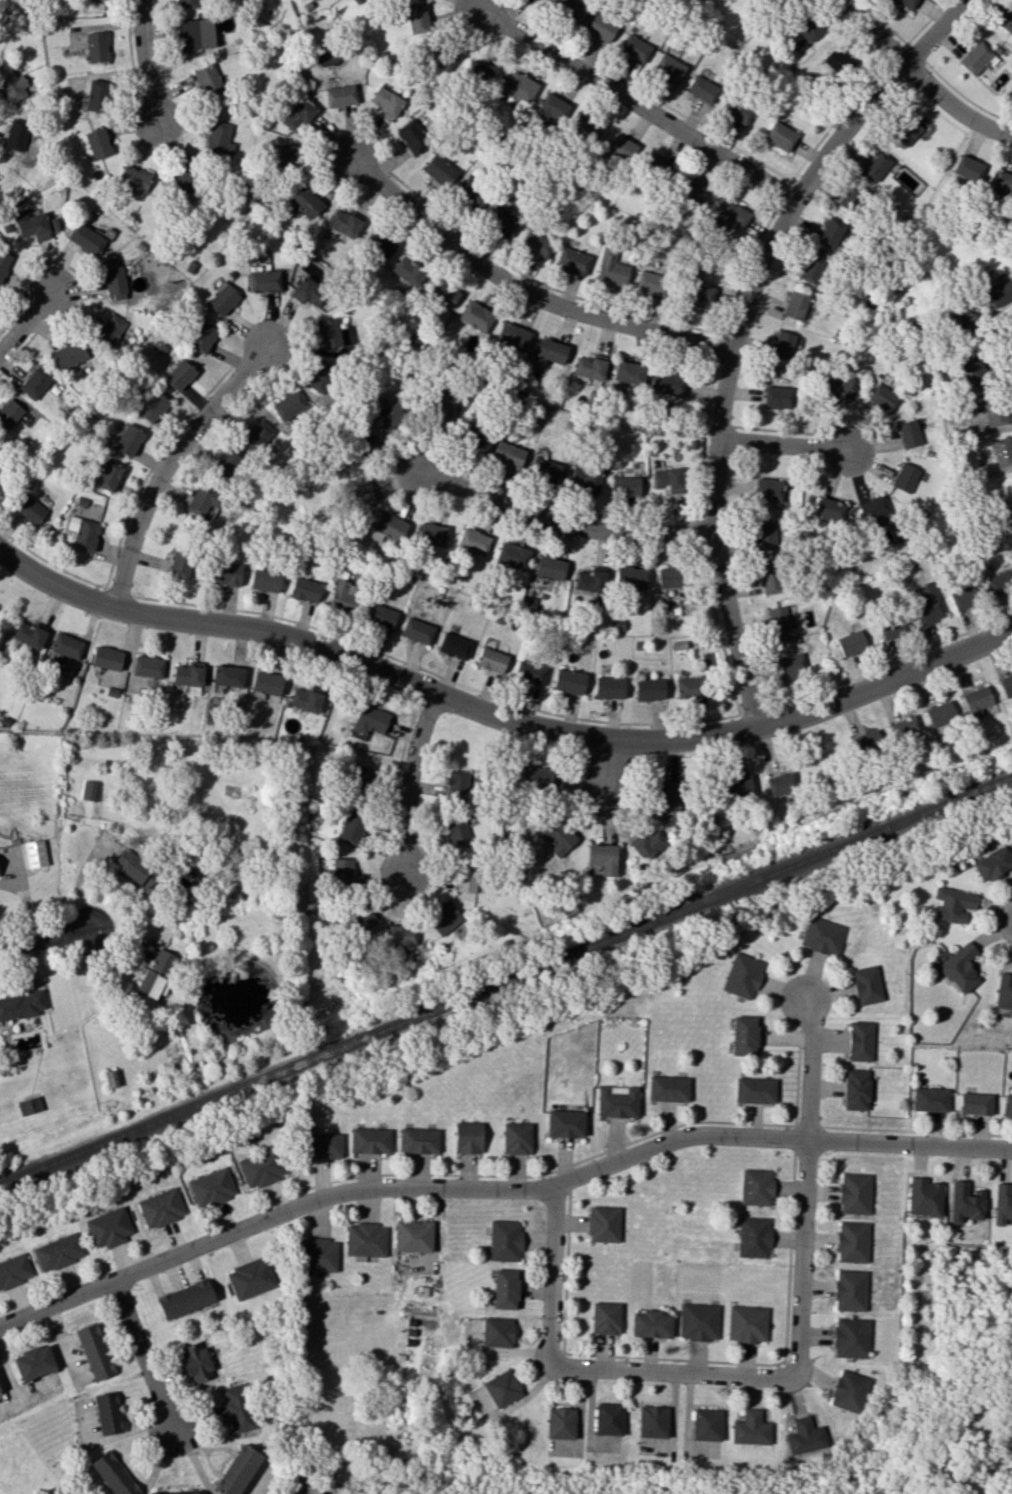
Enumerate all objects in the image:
building: (96, 0)
building: (777, 1)
building: (187, 3)
building: (906, 3)
building: (568, 8)
building: (417, 18)
building: (1006, 18)
building: (807, 27)
building: (600, 28)
building: (195, 33)
road: (905, 45)
building: (96, 46)
building: (634, 48)
road: (897, 53)
road: (915, 54)
building: (975, 57)
building: (439, 59)
road: (142, 60)
building: (836, 60)
road: (134, 62)
building: (668, 68)
building: (478, 72)
road: (919, 77)
building: (207, 80)
building: (12, 85)
building: (519, 86)
building: (701, 89)
road: (646, 94)
building: (97, 95)
building: (340, 95)
road: (965, 97)
building: (386, 103)
road: (636, 104)
building: (551, 110)
building: (736, 110)
building: (299, 115)
road: (836, 119)
building: (586, 127)
building: (16, 134)
building: (412, 136)
building: (779, 136)
building: (218, 138)
building: (98, 143)
building: (620, 148)
building: (287, 157)
building: (652, 165)
building: (875, 165)
building: (968, 168)
building: (439, 170)
building: (180, 177)
building: (135, 178)
building: (1002, 183)
building: (689, 189)
building: (472, 193)
road: (785, 194)
building: (849, 198)
building: (305, 201)
building: (731, 215)
building: (502, 221)
building: (343, 222)
building: (36, 226)
building: (831, 233)
building: (85, 239)
building: (380, 243)
building: (535, 244)
building: (572, 260)
building: (3, 262)
building: (611, 268)
road: (746, 269)
building: (811, 269)
building: (408, 271)
building: (265, 280)
road: (81, 281)
building: (114, 282)
building: (651, 282)
road: (542, 284)
road: (523, 288)
building: (309, 291)
building: (442, 292)
building: (1000, 293)
building: (697, 294)
building: (222, 299)
building: (795, 305)
building: (475, 316)
road: (26, 320)
building: (966, 322)
road: (736, 328)
building: (108, 330)
building: (328, 333)
building: (201, 336)
building: (511, 336)
building: (782, 345)
road: (721, 349)
building: (551, 350)
building: (69, 354)
building: (589, 367)
building: (975, 370)
building: (628, 372)
building: (179, 375)
building: (321, 377)
building: (35, 382)
building: (668, 383)
building: (839, 388)
building: (776, 397)
building: (883, 397)
building: (288, 405)
building: (153, 406)
building: (442, 409)
building: (995, 411)
building: (9, 413)
building: (391, 415)
road: (720, 425)
building: (472, 431)
road: (786, 432)
building: (909, 433)
building: (256, 436)
road: (705, 438)
building: (128, 440)
building: (367, 441)
road: (784, 444)
building: (1002, 451)
building: (507, 455)
road: (166, 461)
building: (224, 464)
building: (544, 469)
building: (109, 475)
building: (905, 477)
building: (586, 478)
building: (667, 479)
building: (624, 486)
building: (770, 490)
building: (360, 492)
building: (203, 501)
building: (873, 508)
building: (29, 509)
road: (560, 510)
building: (830, 510)
road: (563, 523)
road: (127, 524)
building: (387, 528)
road: (705, 530)
building: (766, 532)
building: (83, 533)
building: (431, 534)
building: (473, 541)
building: (512, 555)
building: (181, 563)
building: (550, 567)
building: (225, 574)
building: (631, 577)
building: (669, 577)
building: (591, 579)
building: (771, 579)
building: (266, 580)
building: (1000, 582)
building: (305, 589)
road: (120, 593)
building: (342, 595)
building: (964, 597)
building: (926, 603)
building: (381, 615)
building: (778, 619)
building: (892, 627)
building: (417, 630)
building: (28, 634)
building: (851, 643)
building: (454, 645)
building: (65, 647)
building: (106, 658)
building: (491, 660)
road: (889, 663)
building: (790, 665)
building: (148, 666)
building: (529, 672)
building: (228, 675)
building: (188, 677)
building: (569, 681)
building: (267, 682)
building: (1006, 685)
building: (609, 687)
building: (689, 687)
road: (425, 689)
building: (649, 689)
building: (305, 699)
building: (976, 700)
road: (517, 704)
road: (753, 712)
building: (940, 714)
road: (500, 717)
building: (369, 719)
building: (904, 728)
building: (866, 742)
road: (606, 767)
road: (398, 774)
building: (358, 776)
building: (535, 776)
road: (406, 780)
building: (781, 784)
building: (456, 785)
building: (738, 787)
building: (90, 790)
building: (668, 802)
building: (352, 828)
building: (459, 830)
building: (559, 836)
building: (648, 844)
building: (34, 853)
building: (602, 858)
building: (992, 863)
building: (135, 869)
building: (342, 871)
building: (467, 878)
road: (26, 902)
building: (954, 904)
building: (362, 919)
building: (445, 919)
building: (401, 935)
building: (823, 936)
road: (44, 937)
building: (163, 962)
building: (960, 968)
building: (742, 975)
railway: (505, 981)
building: (152, 985)
building: (866, 985)
building: (1004, 992)
building: (22, 1004)
building: (744, 1035)
building: (860, 1041)
road: (807, 1068)
building: (110, 1078)
building: (668, 1088)
building: (856, 1089)
building: (754, 1090)
building: (930, 1099)
building: (617, 1101)
building: (975, 1103)
building: (29, 1105)
building: (1008, 1105)
building: (565, 1123)
building: (468, 1137)
building: (516, 1138)
building: (369, 1140)
building: (418, 1140)
building: (322, 1145)
building: (262, 1167)
building: (211, 1187)
road: (498, 1187)
building: (756, 1187)
building: (854, 1193)
building: (924, 1197)
building: (965, 1202)
building: (1002, 1203)
building: (161, 1207)
building: (603, 1223)
building: (108, 1227)
building: (412, 1235)
building: (753, 1237)
building: (365, 1239)
building: (504, 1240)
building: (852, 1241)
building: (58, 1252)
building: (319, 1254)
building: (14, 1270)
building: (250, 1278)
building: (505, 1288)
building: (850, 1290)
building: (185, 1298)
building: (605, 1318)
building: (698, 1321)
building: (747, 1323)
building: (650, 1324)
building: (496, 1332)
building: (851, 1337)
building: (94, 1351)
road: (143, 1355)
building: (33, 1362)
building: (196, 1362)
road: (699, 1373)
building: (501, 1388)
building: (848, 1390)
building: (107, 1413)
building: (608, 1419)
building: (652, 1421)
building: (559, 1423)
building: (706, 1424)
building: (750, 1428)
building: (804, 1437)
building: (238, 1470)
building: (113, 1474)
building: (310, 1488)
building: (177, 1492)

